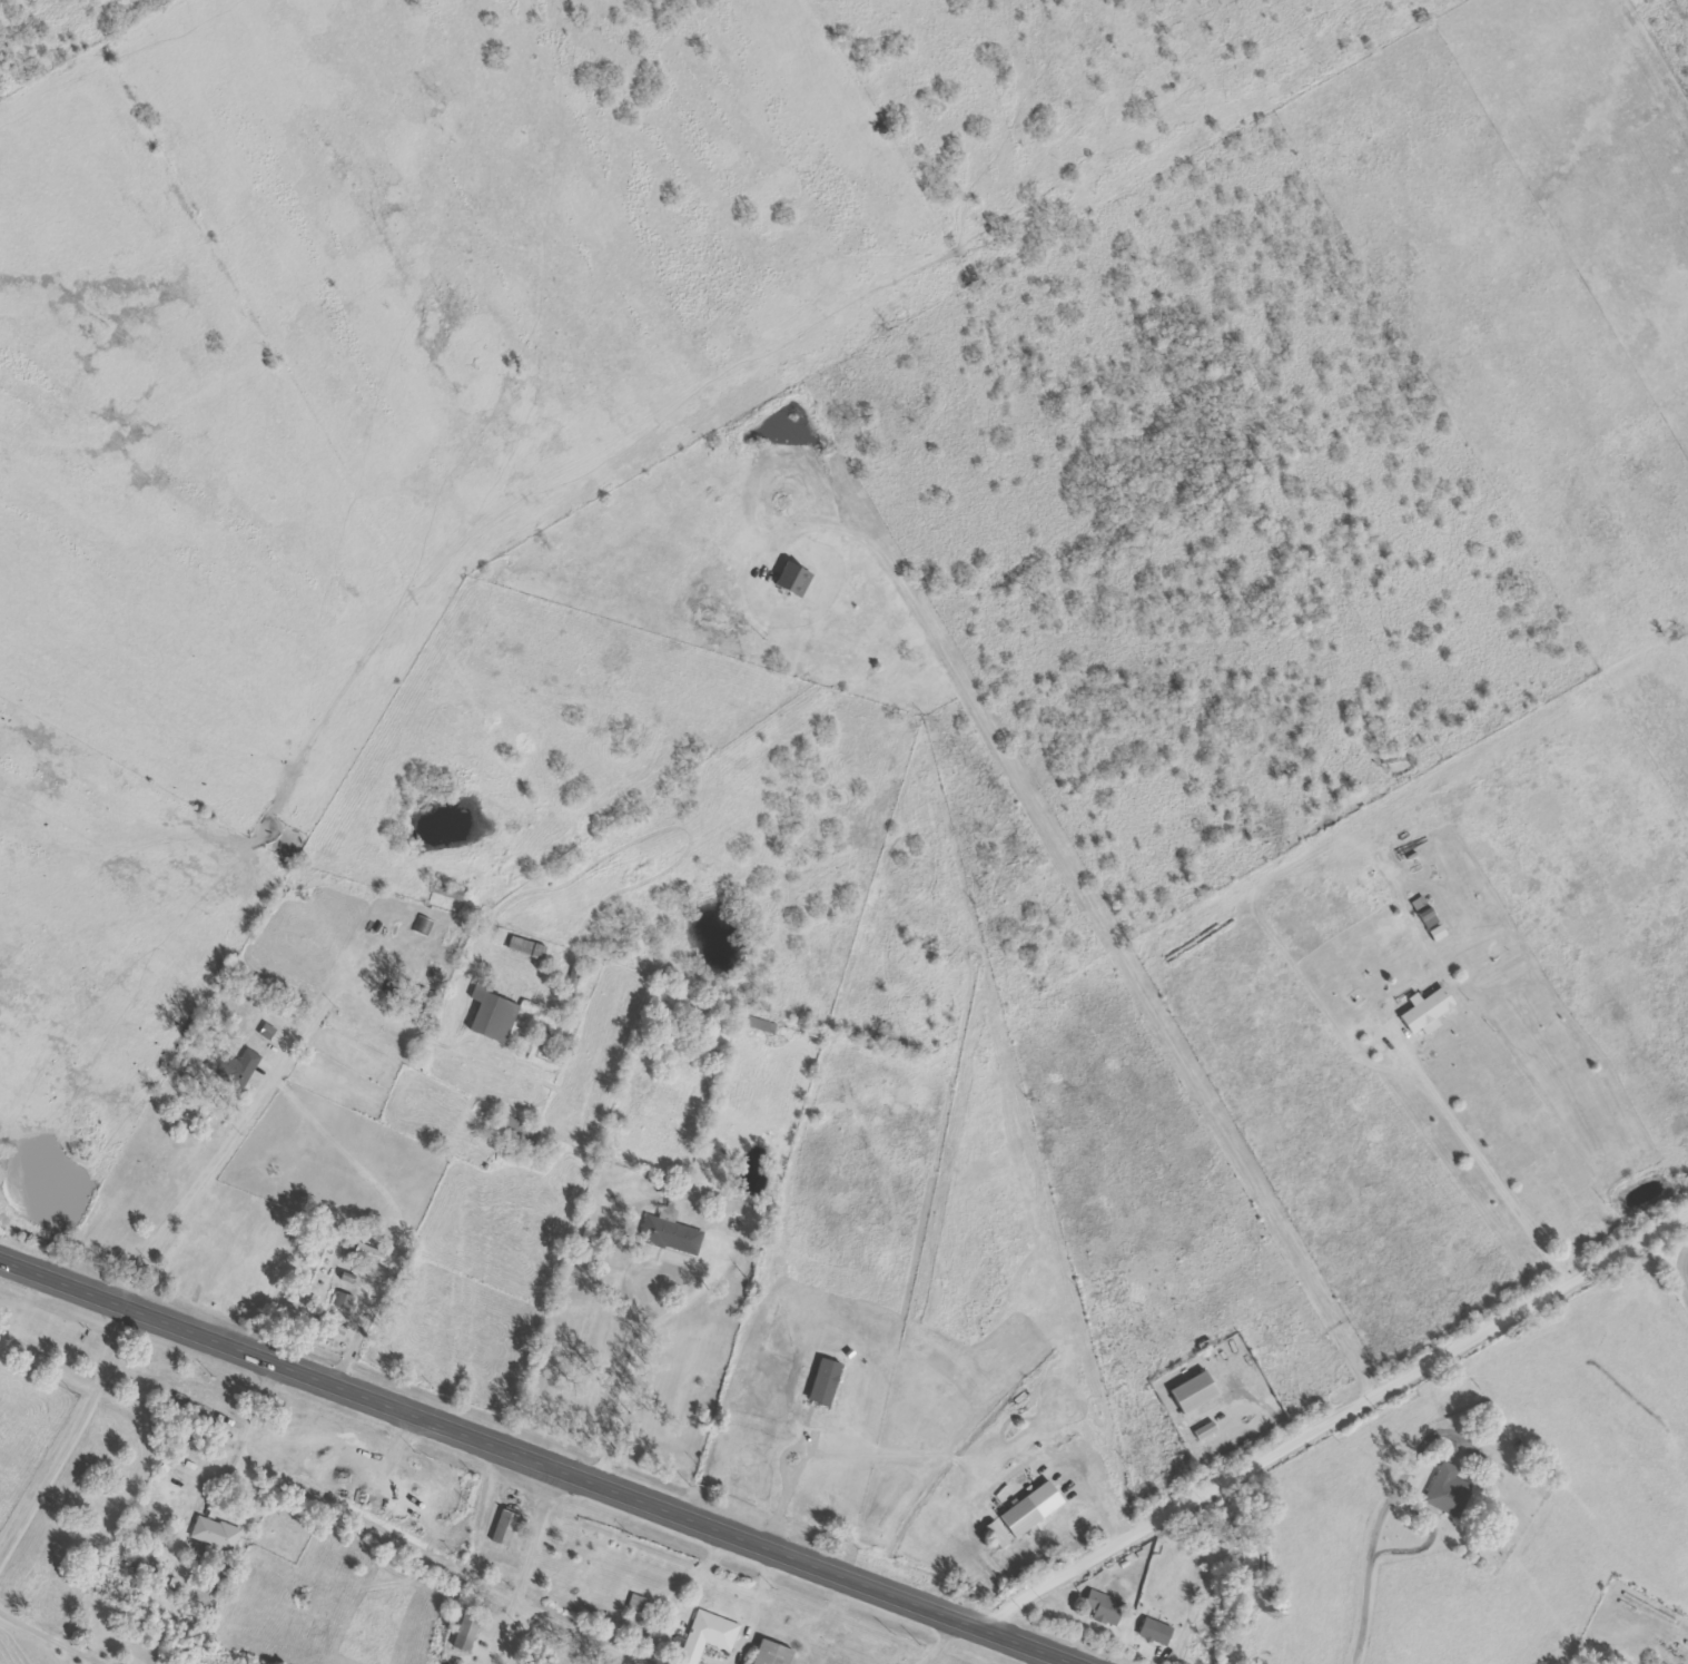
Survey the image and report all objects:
building: (797, 579)
building: (1428, 917)
building: (426, 926)
building: (527, 948)
building: (422, 998)
building: (1425, 1011)
building: (492, 1013)
building: (754, 1023)
building: (270, 1032)
building: (236, 1069)
road: (228, 1126)
building: (517, 1128)
building: (668, 1232)
building: (371, 1251)
building: (346, 1301)
building: (828, 1382)
building: (1198, 1392)
road: (257, 1407)
road: (1337, 1414)
building: (1208, 1431)
road: (546, 1459)
building: (1447, 1490)
road: (326, 1501)
building: (1035, 1509)
building: (506, 1528)
road: (537, 1528)
building: (217, 1535)
building: (1001, 1535)
building: (145, 1559)
building: (639, 1604)
building: (1104, 1608)
building: (468, 1631)
building: (1155, 1632)
building: (708, 1636)
road: (946, 1640)
building: (771, 1654)
building: (1664, 1663)

